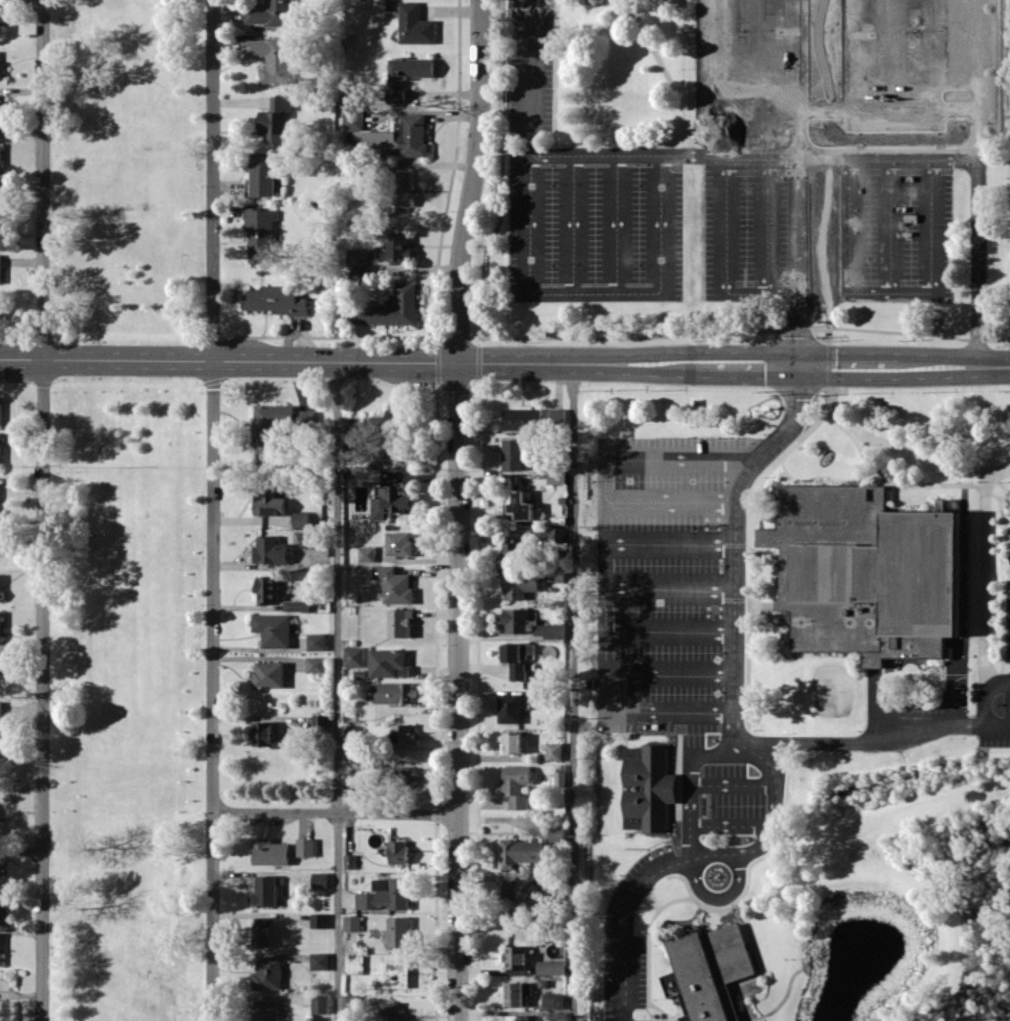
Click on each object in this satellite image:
building: (520, 3)
road: (635, 8)
building: (270, 13)
building: (0, 23)
building: (415, 24)
road: (763, 42)
road: (848, 42)
road: (889, 42)
parking lot: (826, 47)
road: (686, 55)
building: (271, 57)
building: (0, 70)
parking lot: (530, 71)
building: (406, 73)
road: (531, 77)
road: (668, 77)
road: (828, 84)
building: (0, 106)
building: (352, 111)
building: (275, 119)
building: (395, 138)
road: (557, 143)
building: (0, 153)
road: (550, 154)
building: (262, 176)
road: (472, 180)
road: (493, 180)
road: (800, 182)
road: (974, 182)
building: (0, 186)
building: (401, 192)
parking lot: (594, 222)
road: (572, 223)
road: (616, 223)
parking lot: (826, 223)
building: (0, 224)
road: (766, 224)
road: (848, 225)
road: (889, 225)
building: (260, 234)
building: (397, 247)
building: (0, 268)
building: (754, 289)
road: (828, 292)
building: (276, 299)
building: (390, 308)
road: (719, 330)
road: (228, 360)
road: (733, 363)
traffic signals: (796, 364)
road: (831, 396)
building: (1, 410)
building: (558, 415)
building: (306, 417)
building: (522, 417)
building: (390, 418)
building: (270, 421)
building: (0, 447)
building: (513, 453)
road: (603, 470)
road: (997, 470)
building: (556, 475)
road: (997, 480)
road: (916, 482)
road: (756, 489)
building: (1008, 500)
building: (389, 501)
building: (269, 503)
building: (0, 507)
building: (518, 507)
park: (126, 509)
road: (43, 510)
road: (213, 510)
road: (1006, 518)
building: (300, 519)
road: (1006, 524)
building: (555, 533)
building: (311, 538)
building: (1, 540)
building: (399, 543)
building: (270, 550)
building: (513, 551)
building: (367, 553)
building: (862, 571)
building: (555, 572)
road: (1006, 575)
parking lot: (673, 579)
building: (0, 585)
building: (394, 585)
building: (515, 585)
road: (605, 587)
road: (1002, 588)
building: (267, 589)
road: (670, 590)
building: (297, 605)
road: (961, 617)
parking lot: (1008, 618)
building: (515, 619)
building: (400, 622)
building: (0, 626)
building: (273, 628)
building: (549, 630)
building: (316, 641)
building: (353, 656)
building: (517, 657)
building: (1, 658)
building: (388, 662)
road: (747, 662)
road: (605, 663)
building: (315, 664)
building: (269, 674)
road: (733, 684)
road: (337, 690)
road: (458, 691)
road: (574, 691)
road: (634, 691)
road: (983, 694)
building: (387, 695)
road: (874, 705)
building: (510, 708)
parking lot: (994, 709)
parking lot: (911, 720)
building: (319, 721)
building: (1, 727)
building: (403, 734)
building: (267, 735)
building: (512, 742)
building: (355, 749)
building: (553, 750)
road: (677, 764)
road: (690, 774)
building: (397, 775)
building: (560, 777)
building: (353, 780)
road: (732, 783)
building: (516, 785)
building: (647, 787)
parking lot: (730, 798)
road: (335, 811)
road: (730, 824)
building: (557, 833)
road: (766, 836)
building: (306, 846)
building: (270, 851)
building: (398, 851)
building: (521, 852)
road: (751, 860)
building: (1, 867)
building: (320, 879)
building: (267, 889)
building: (520, 889)
building: (386, 894)
road: (719, 896)
building: (2, 906)
building: (319, 920)
building: (352, 922)
road: (624, 922)
building: (398, 931)
parking lot: (629, 932)
building: (262, 933)
building: (0, 948)
road: (648, 948)
road: (753, 948)
building: (515, 956)
building: (319, 960)
building: (355, 964)
building: (552, 966)
building: (706, 971)
building: (268, 973)
building: (393, 974)
road: (756, 988)
building: (516, 992)
building: (553, 1000)
road: (781, 1000)
road: (744, 1001)
building: (350, 1003)
building: (320, 1004)
building: (0, 1010)
building: (266, 1010)
building: (393, 1011)
road: (675, 1015)
building: (516, 1017)
parking lot: (649, 1020)

